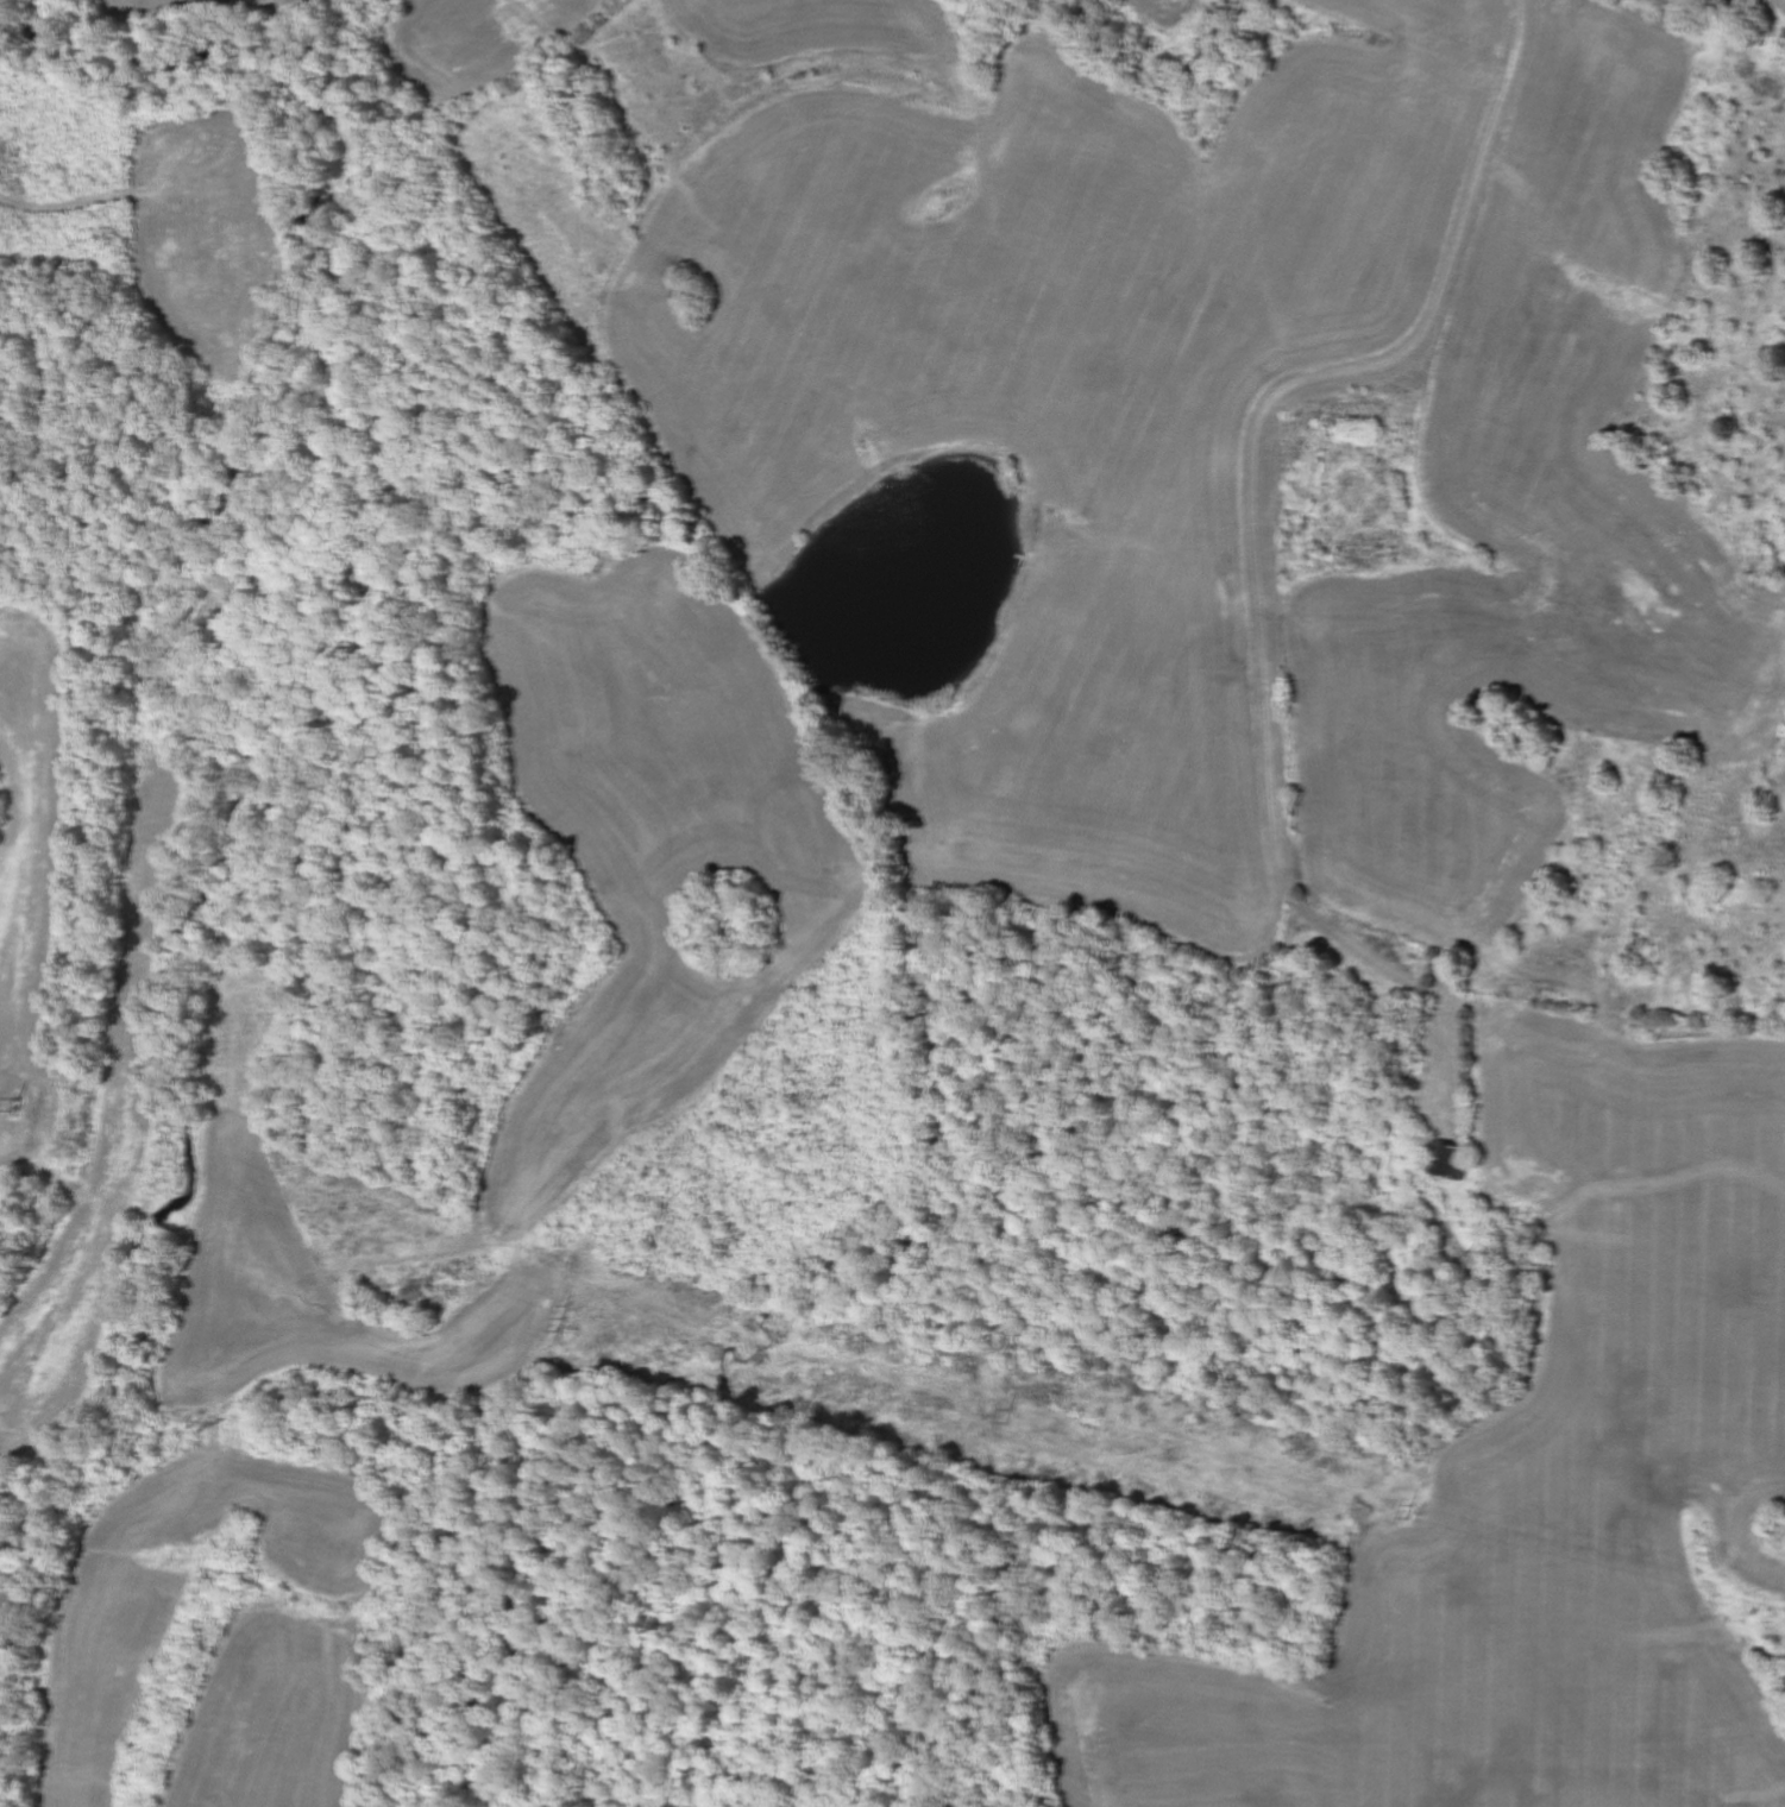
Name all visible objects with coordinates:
road: (50, 794)
power tower: (20, 1114)
power tower: (566, 1321)
power tower: (1012, 1421)
power tower: (1416, 1511)

